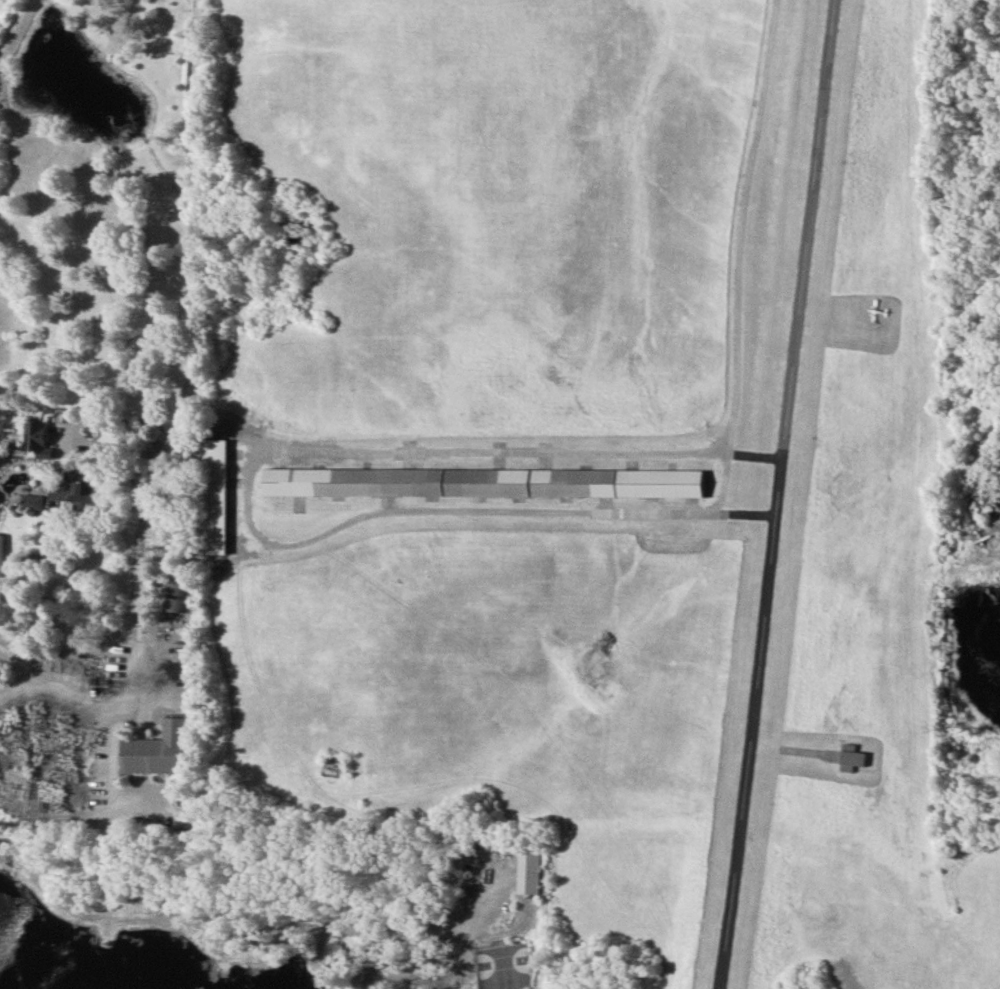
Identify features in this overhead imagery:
airport taxiway: (745, 228)
road: (176, 417)
building: (38, 440)
airport taxiway: (759, 459)
airport: (591, 469)
building: (491, 486)
airport runway: (782, 494)
building: (0, 500)
building: (33, 501)
building: (220, 503)
airport taxiway: (744, 516)
airport taxiway: (253, 521)
building: (2, 555)
building: (176, 596)
building: (160, 750)
building: (856, 760)
road: (112, 767)
building: (529, 873)
road: (467, 940)

